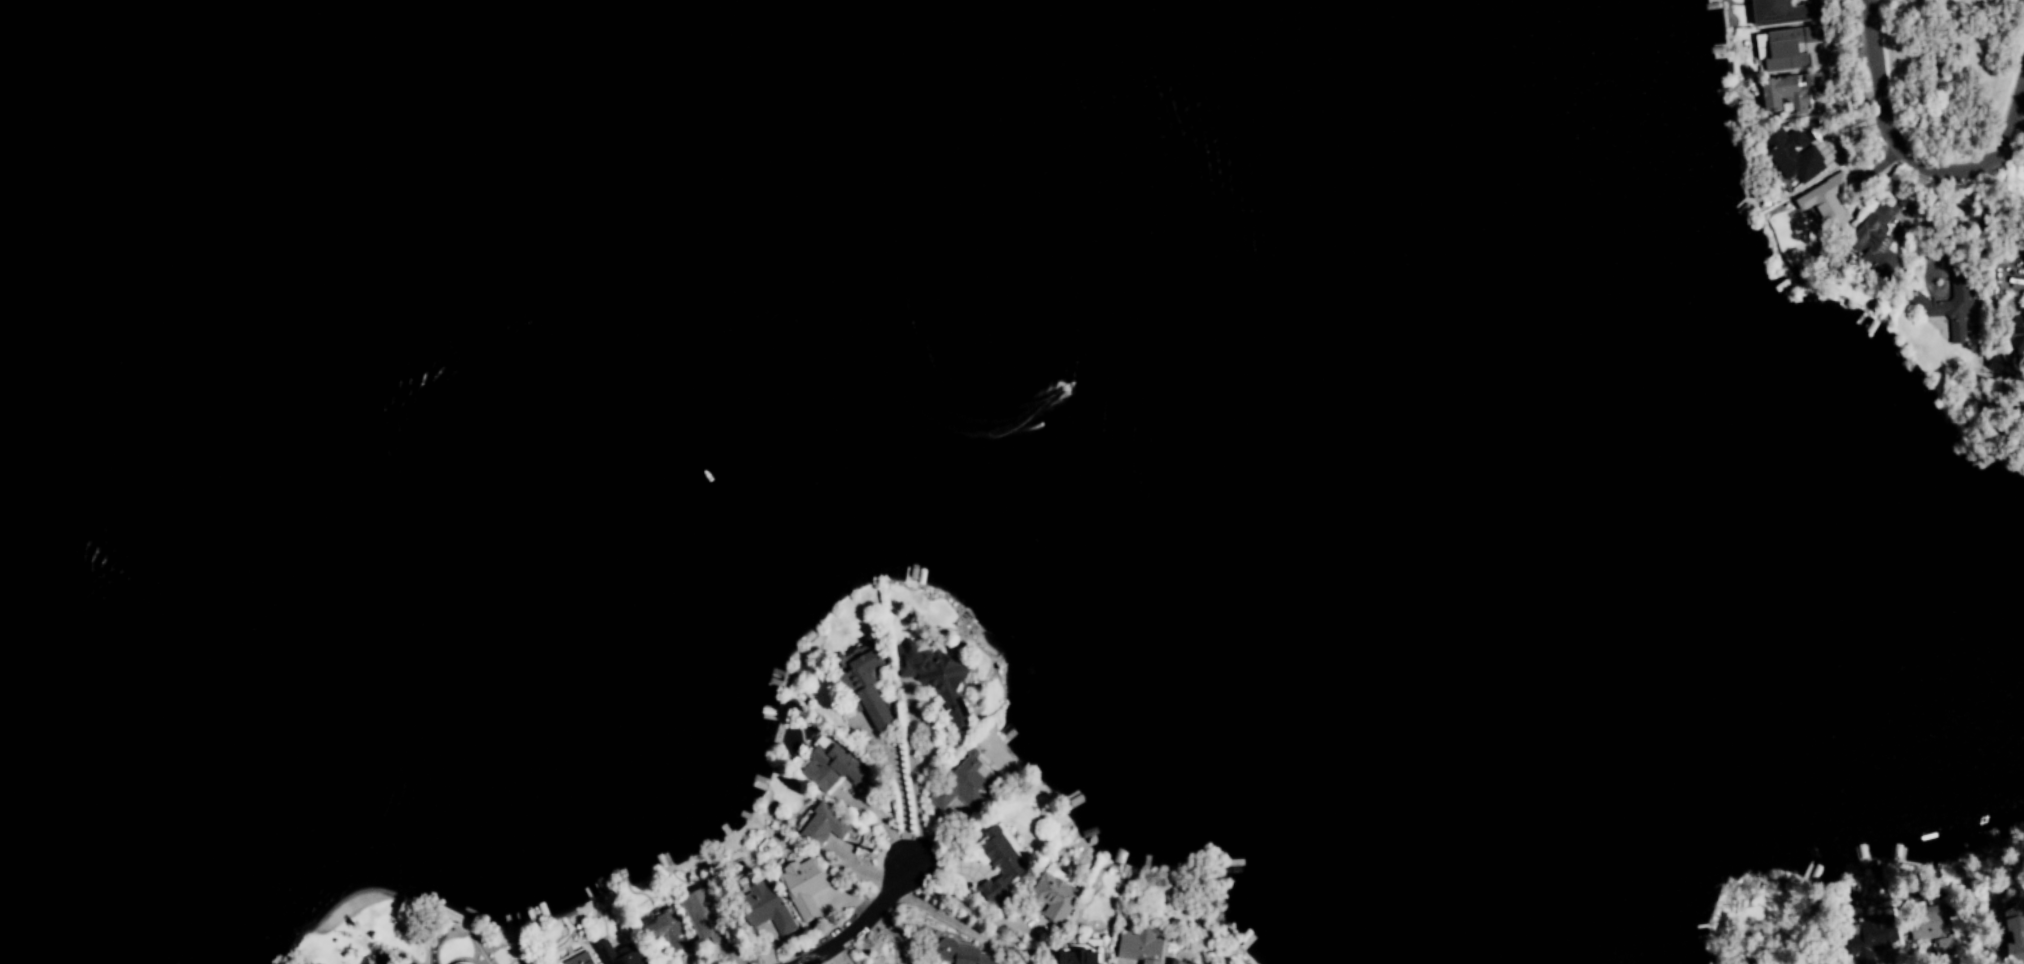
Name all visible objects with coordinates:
building: (1781, 12)
building: (1788, 49)
building: (1780, 95)
building: (1790, 156)
road: (1908, 164)
building: (1823, 203)
building: (1874, 243)
building: (1939, 313)
building: (2008, 347)
building: (826, 768)
building: (967, 780)
road: (904, 782)
building: (819, 826)
building: (999, 863)
building: (802, 886)
building: (1053, 895)
road: (961, 906)
building: (763, 908)
road: (931, 911)
building: (700, 913)
road: (856, 924)
building: (1925, 924)
building: (666, 931)
building: (2014, 934)
building: (1867, 939)
building: (1947, 944)
building: (1139, 948)
building: (1080, 953)
building: (618, 954)
road: (1895, 961)
building: (1176, 962)
building: (1757, 963)

